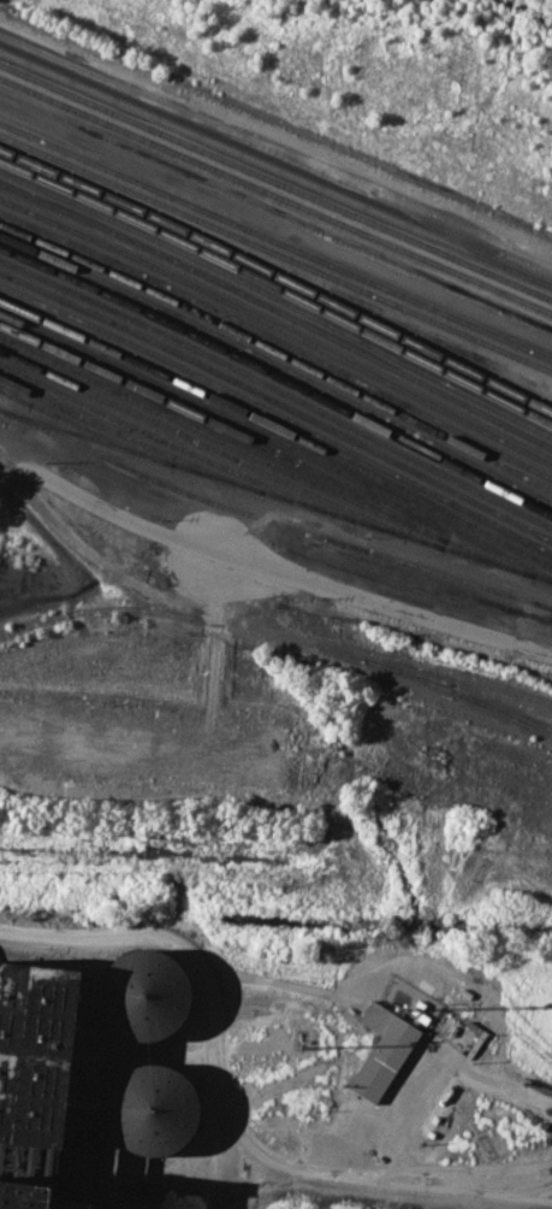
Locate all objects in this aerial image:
railway: (275, 167)
railway: (275, 182)
railway: (275, 195)
railway: (275, 240)
railway: (275, 252)
railway: (278, 276)
railway: (278, 287)
railway: (278, 299)
railway: (278, 309)
railway: (278, 326)
railway: (278, 338)
railway: (278, 350)
railway: (278, 364)
railway: (278, 376)
railway: (278, 388)
railway: (225, 389)
railway: (7, 394)
railway: (278, 400)
railway: (278, 429)
railway: (70, 430)
railway: (125, 434)
railway: (218, 438)
railway: (278, 440)
railway: (173, 443)
railway: (265, 444)
railway: (215, 449)
railway: (272, 495)
railway: (268, 519)
railway: (500, 526)
road: (269, 567)
railway: (432, 580)
railway: (548, 606)
railway: (548, 606)
railway: (281, 636)
railway: (458, 684)
railway: (508, 686)
railway: (505, 709)
building: (147, 993)
building: (41, 1050)
building: (386, 1052)
road: (226, 1108)
building: (150, 1110)
road: (260, 1192)
building: (158, 1193)
building: (26, 1196)
building: (82, 1204)

